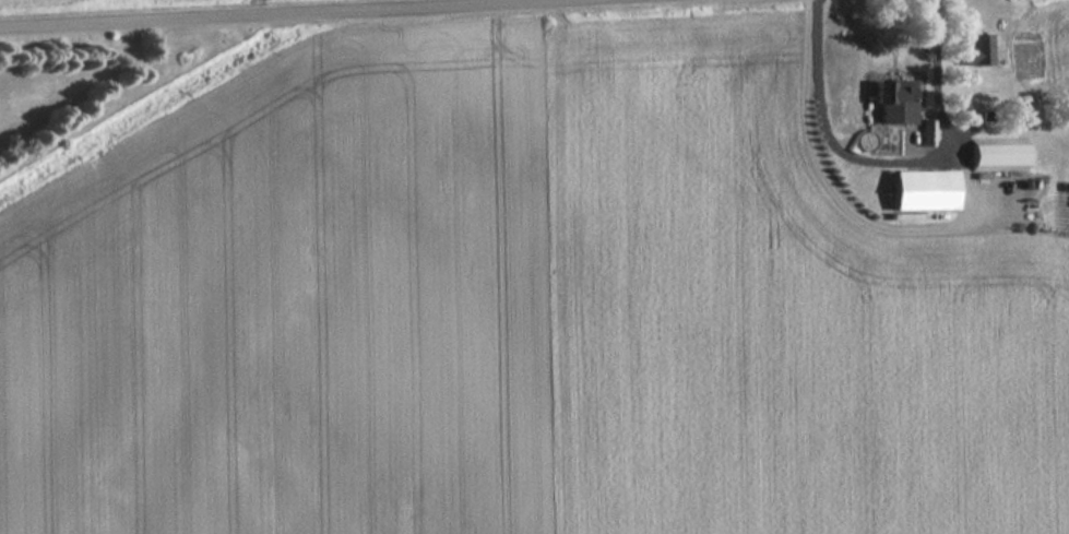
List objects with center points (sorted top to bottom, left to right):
road: (290, 14)
building: (976, 50)
building: (893, 103)
building: (997, 155)
road: (898, 162)
building: (923, 192)
road: (868, 219)

